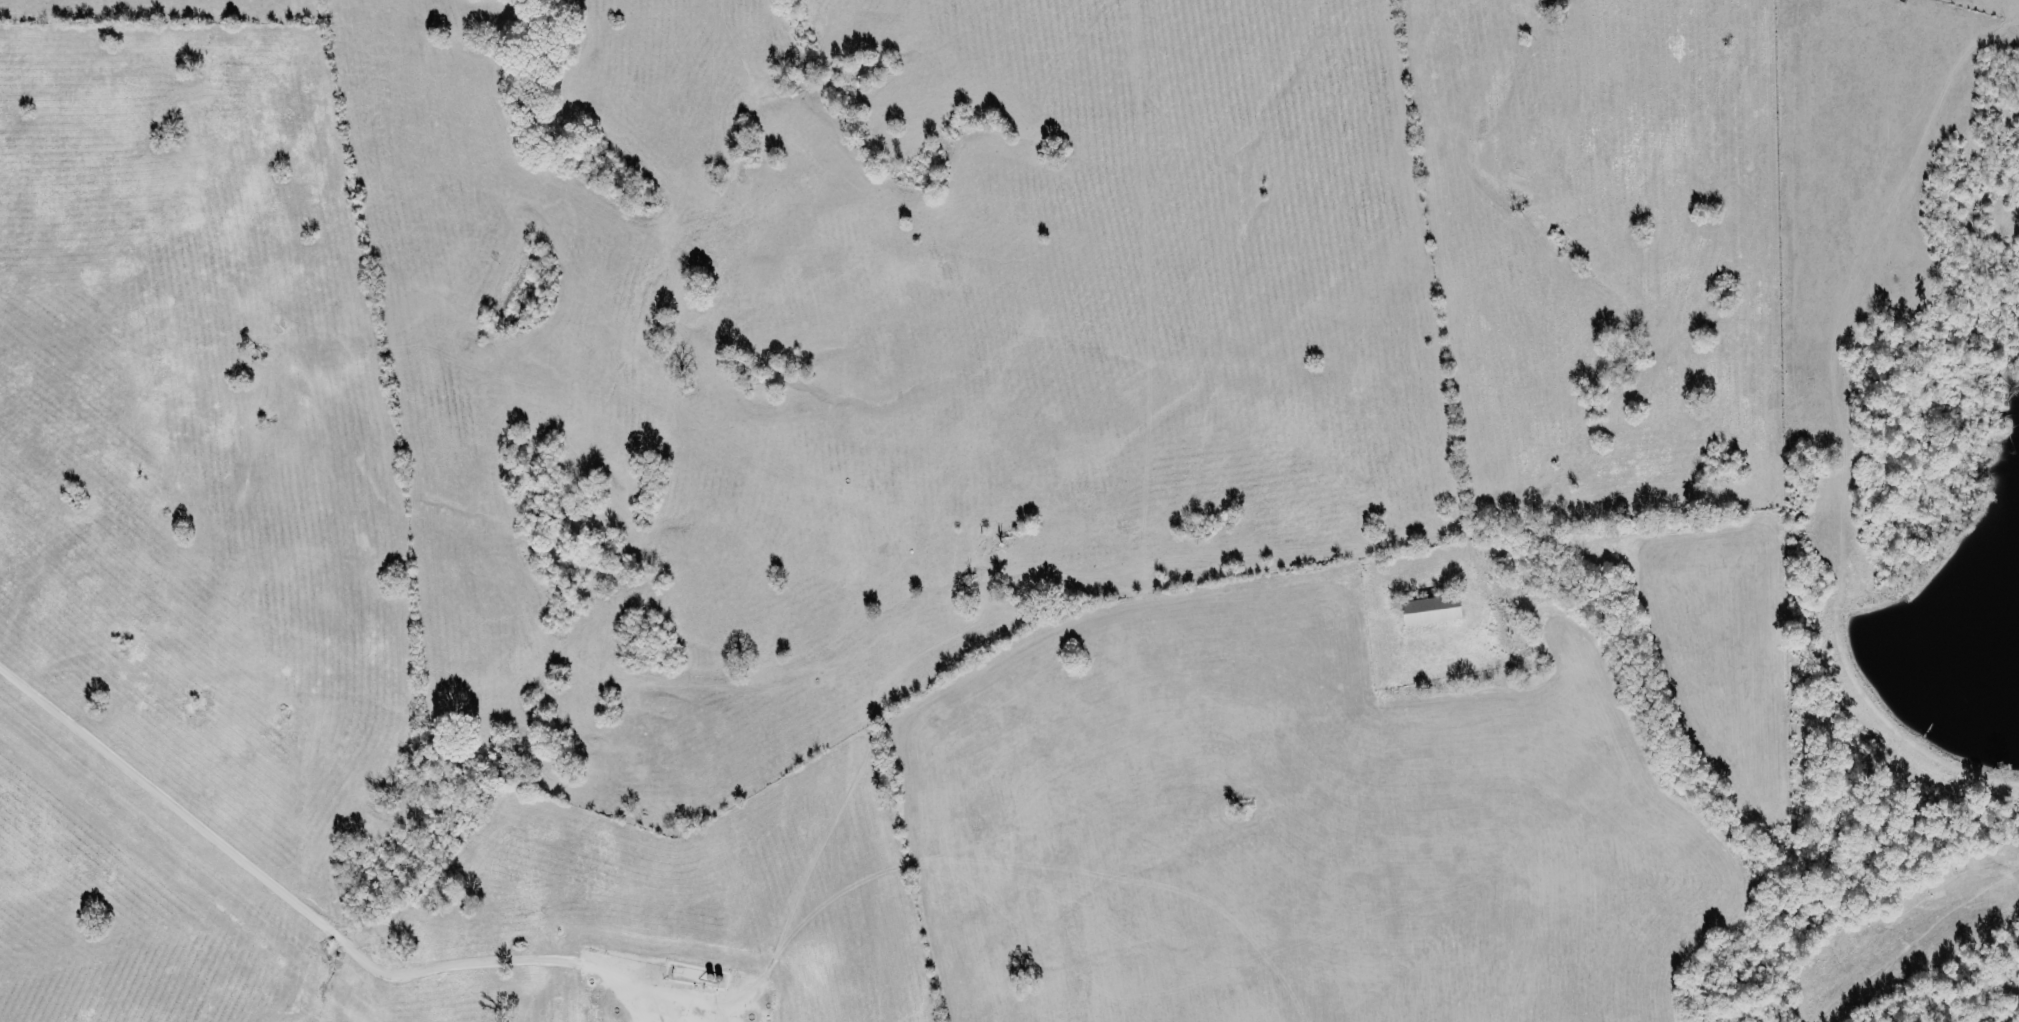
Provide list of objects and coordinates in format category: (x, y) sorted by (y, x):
building: (1424, 610)

